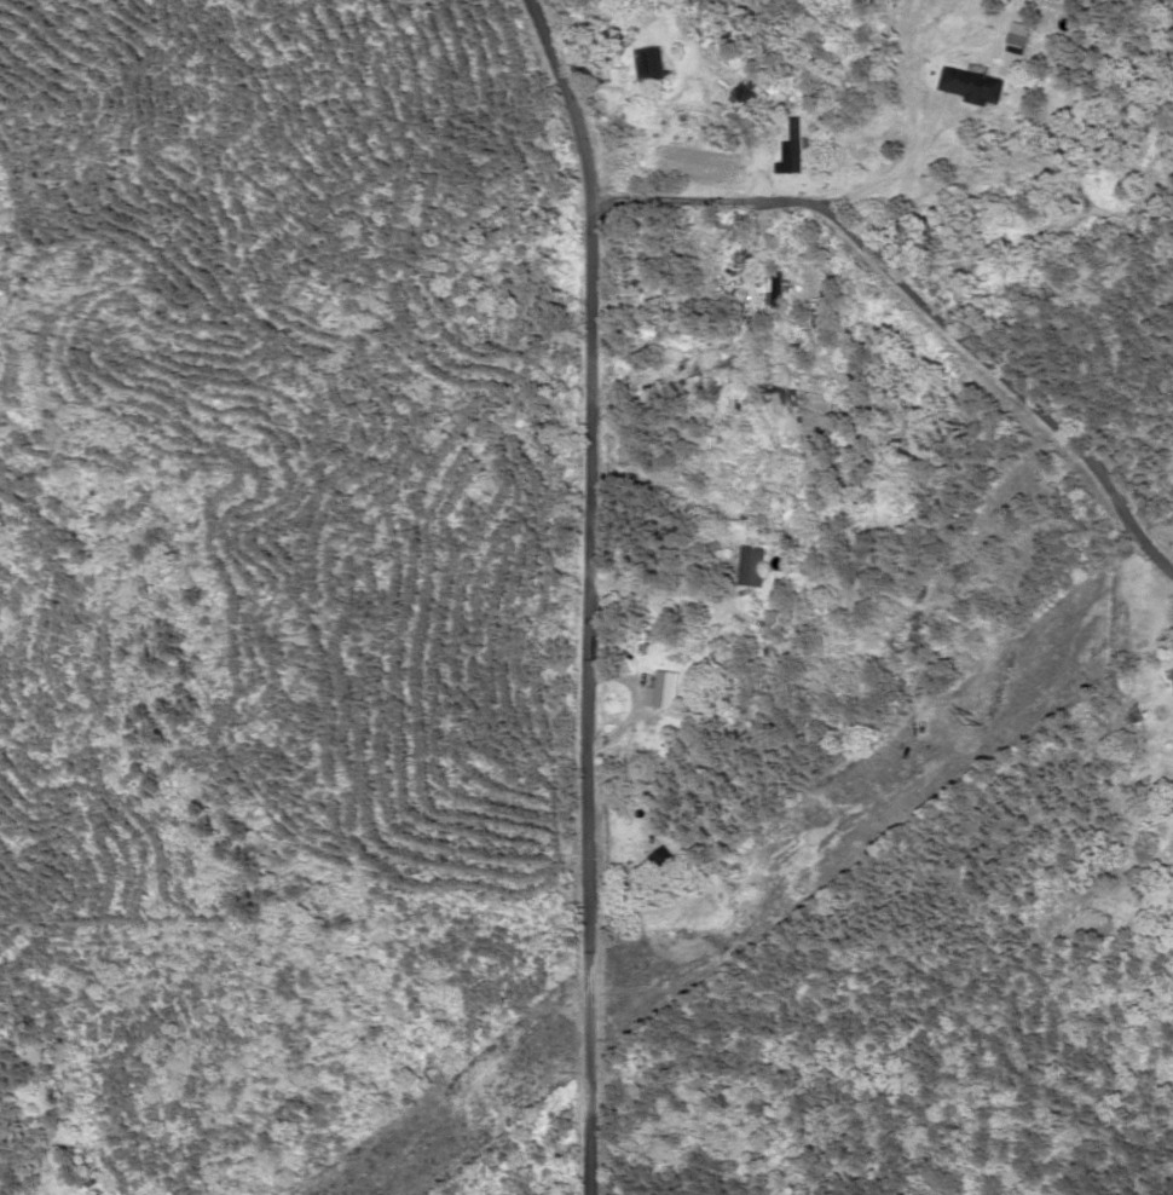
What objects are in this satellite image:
building: (1019, 45)
road: (545, 47)
building: (649, 65)
building: (977, 86)
building: (746, 96)
building: (677, 254)
building: (779, 291)
road: (921, 299)
building: (757, 568)
road: (626, 584)
road: (596, 642)
power tower: (1070, 656)
building: (853, 689)
building: (670, 692)
building: (669, 860)

